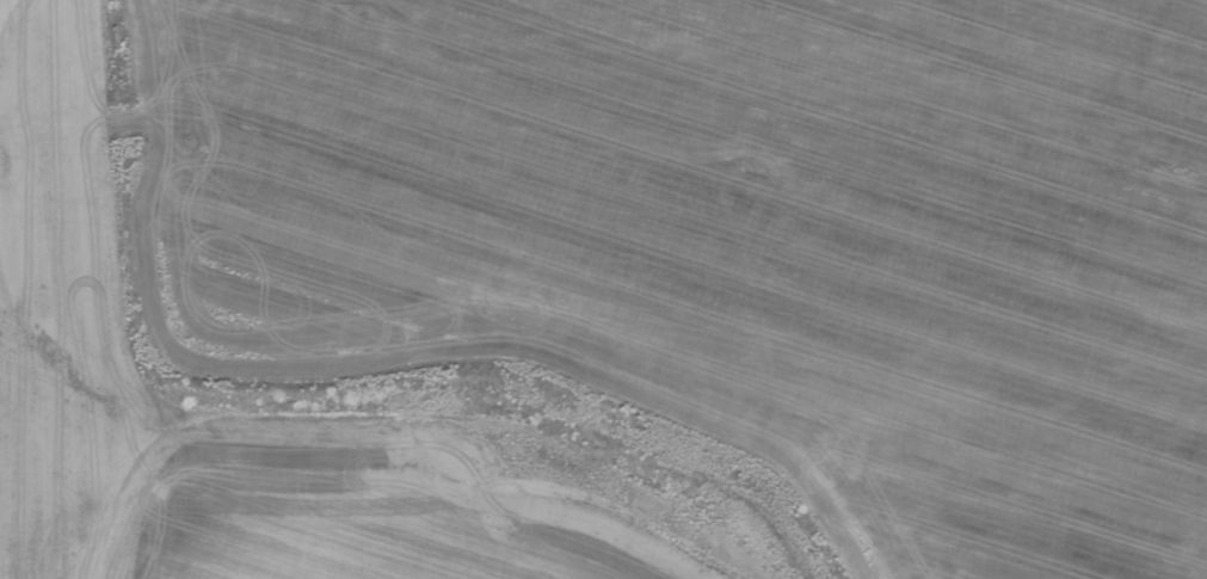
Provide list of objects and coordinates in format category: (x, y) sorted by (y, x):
road: (164, 27)

